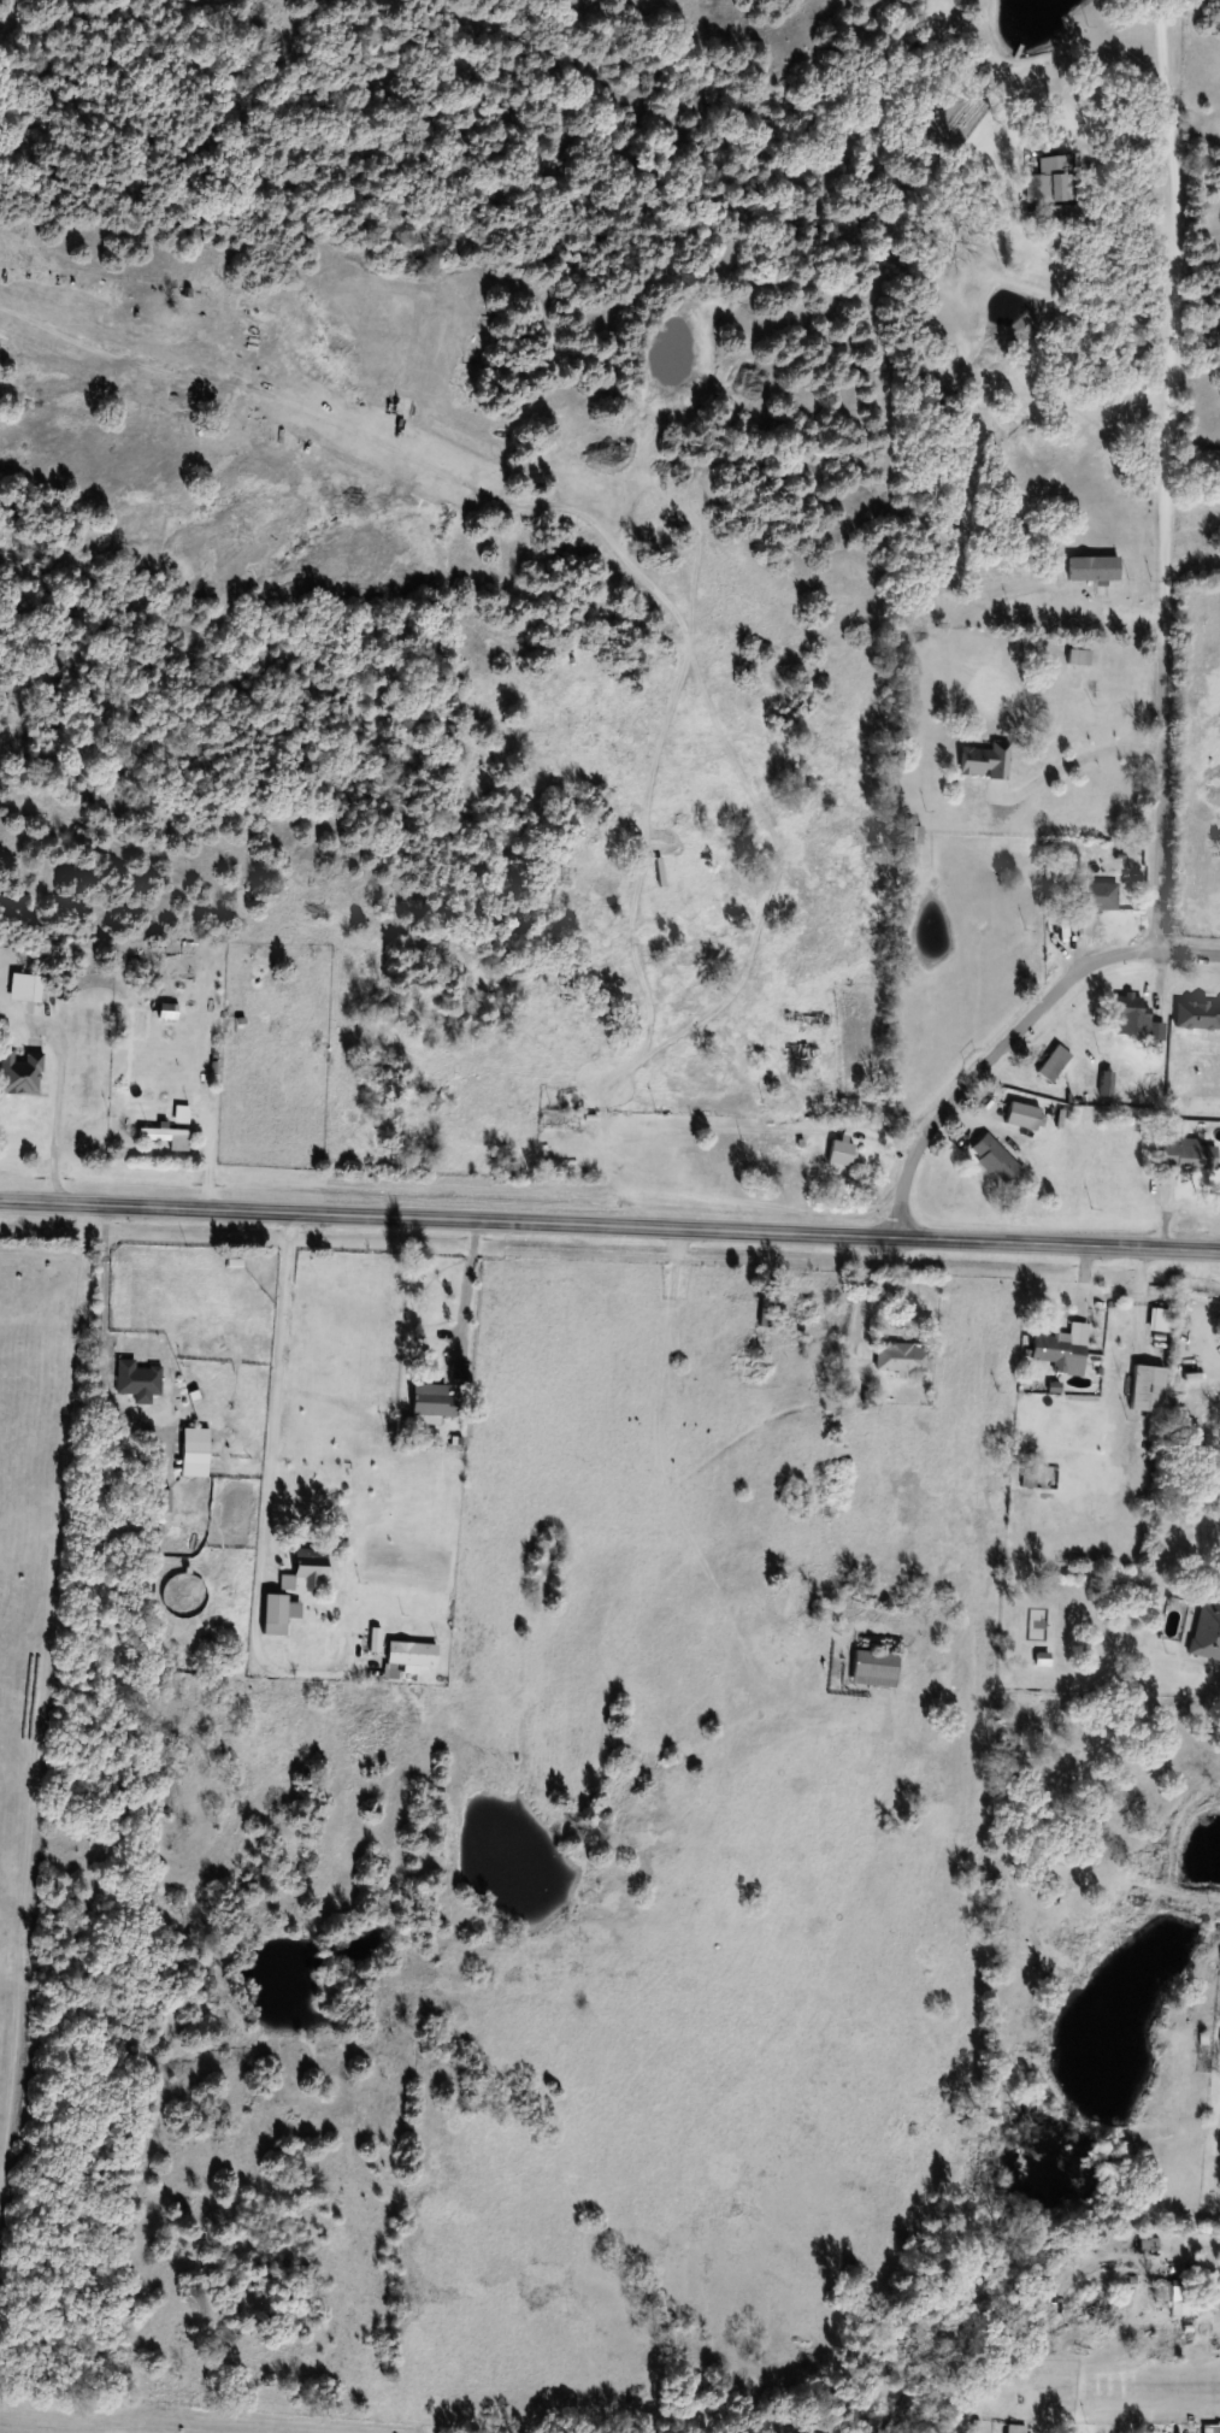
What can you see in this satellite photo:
road: (1163, 89)
building: (1051, 178)
road: (1165, 565)
building: (1078, 658)
building: (984, 762)
road: (1078, 762)
building: (912, 835)
building: (1101, 896)
road: (1187, 954)
building: (24, 988)
building: (1131, 1012)
building: (1197, 1015)
road: (990, 1060)
building: (1053, 1064)
building: (19, 1072)
building: (181, 1114)
building: (1022, 1115)
road: (55, 1117)
building: (166, 1137)
building: (779, 1147)
building: (1189, 1157)
building: (994, 1159)
road: (609, 1226)
road: (104, 1280)
road: (466, 1296)
building: (765, 1306)
building: (1057, 1353)
building: (902, 1357)
building: (136, 1382)
building: (431, 1401)
building: (194, 1453)
building: (1030, 1477)
road: (267, 1488)
building: (303, 1569)
building: (277, 1614)
building: (1207, 1630)
building: (407, 1657)
building: (1041, 1659)
building: (873, 1668)
building: (1056, 1873)
road: (1200, 2238)
building: (1172, 2296)
building: (1015, 2428)

